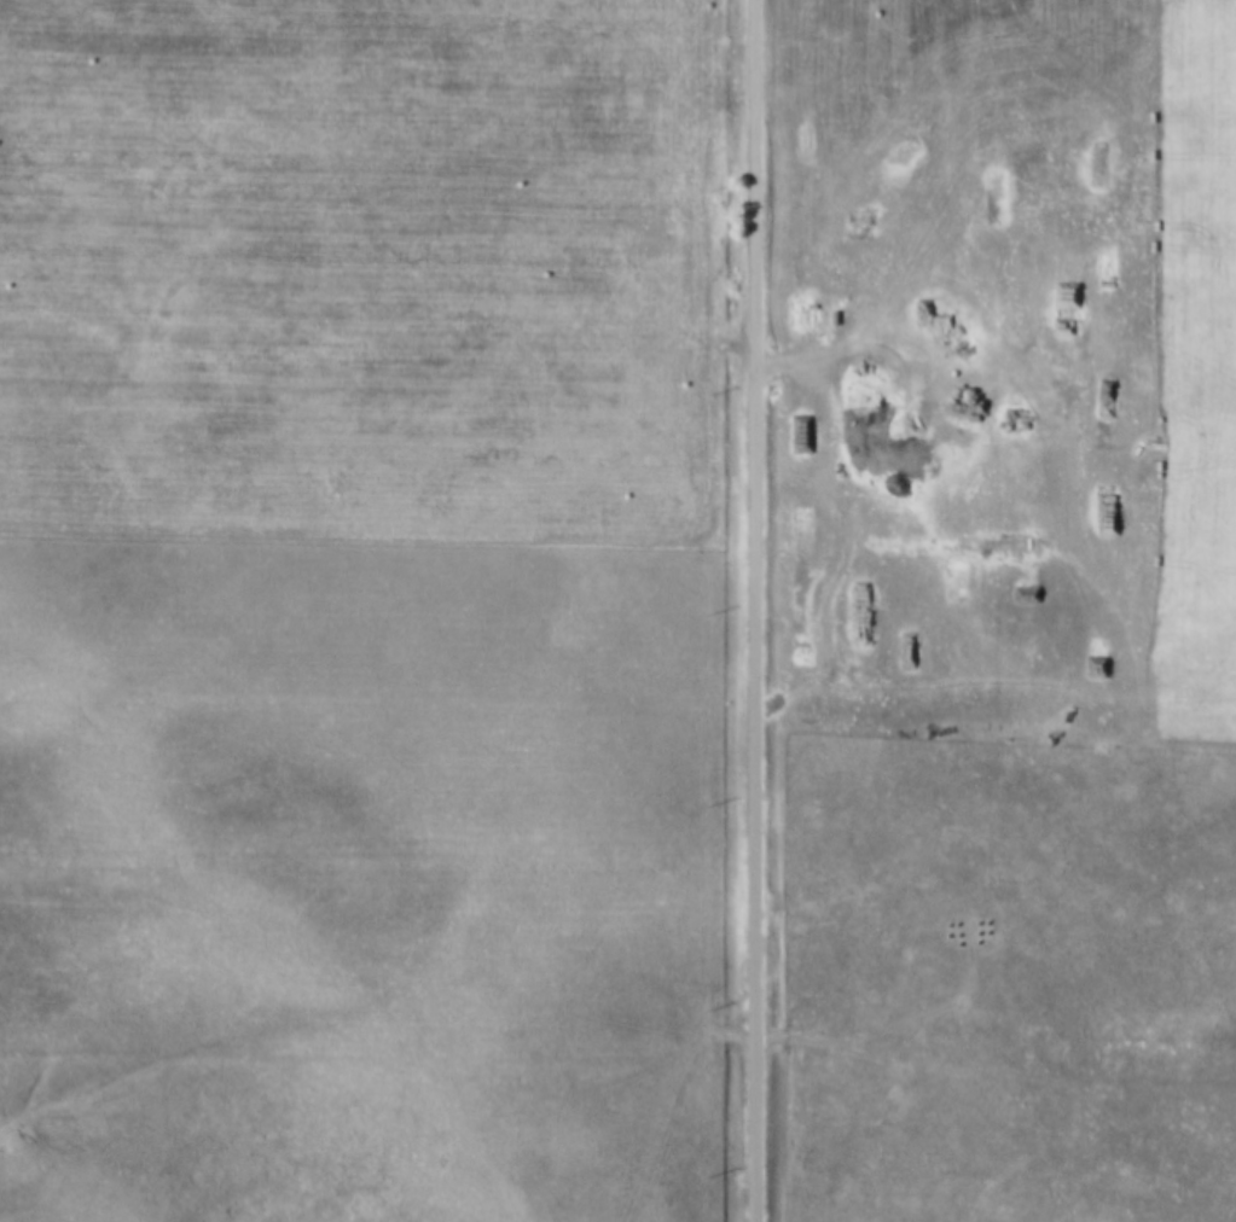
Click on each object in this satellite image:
road: (859, 385)
road: (758, 611)
road: (681, 1108)

